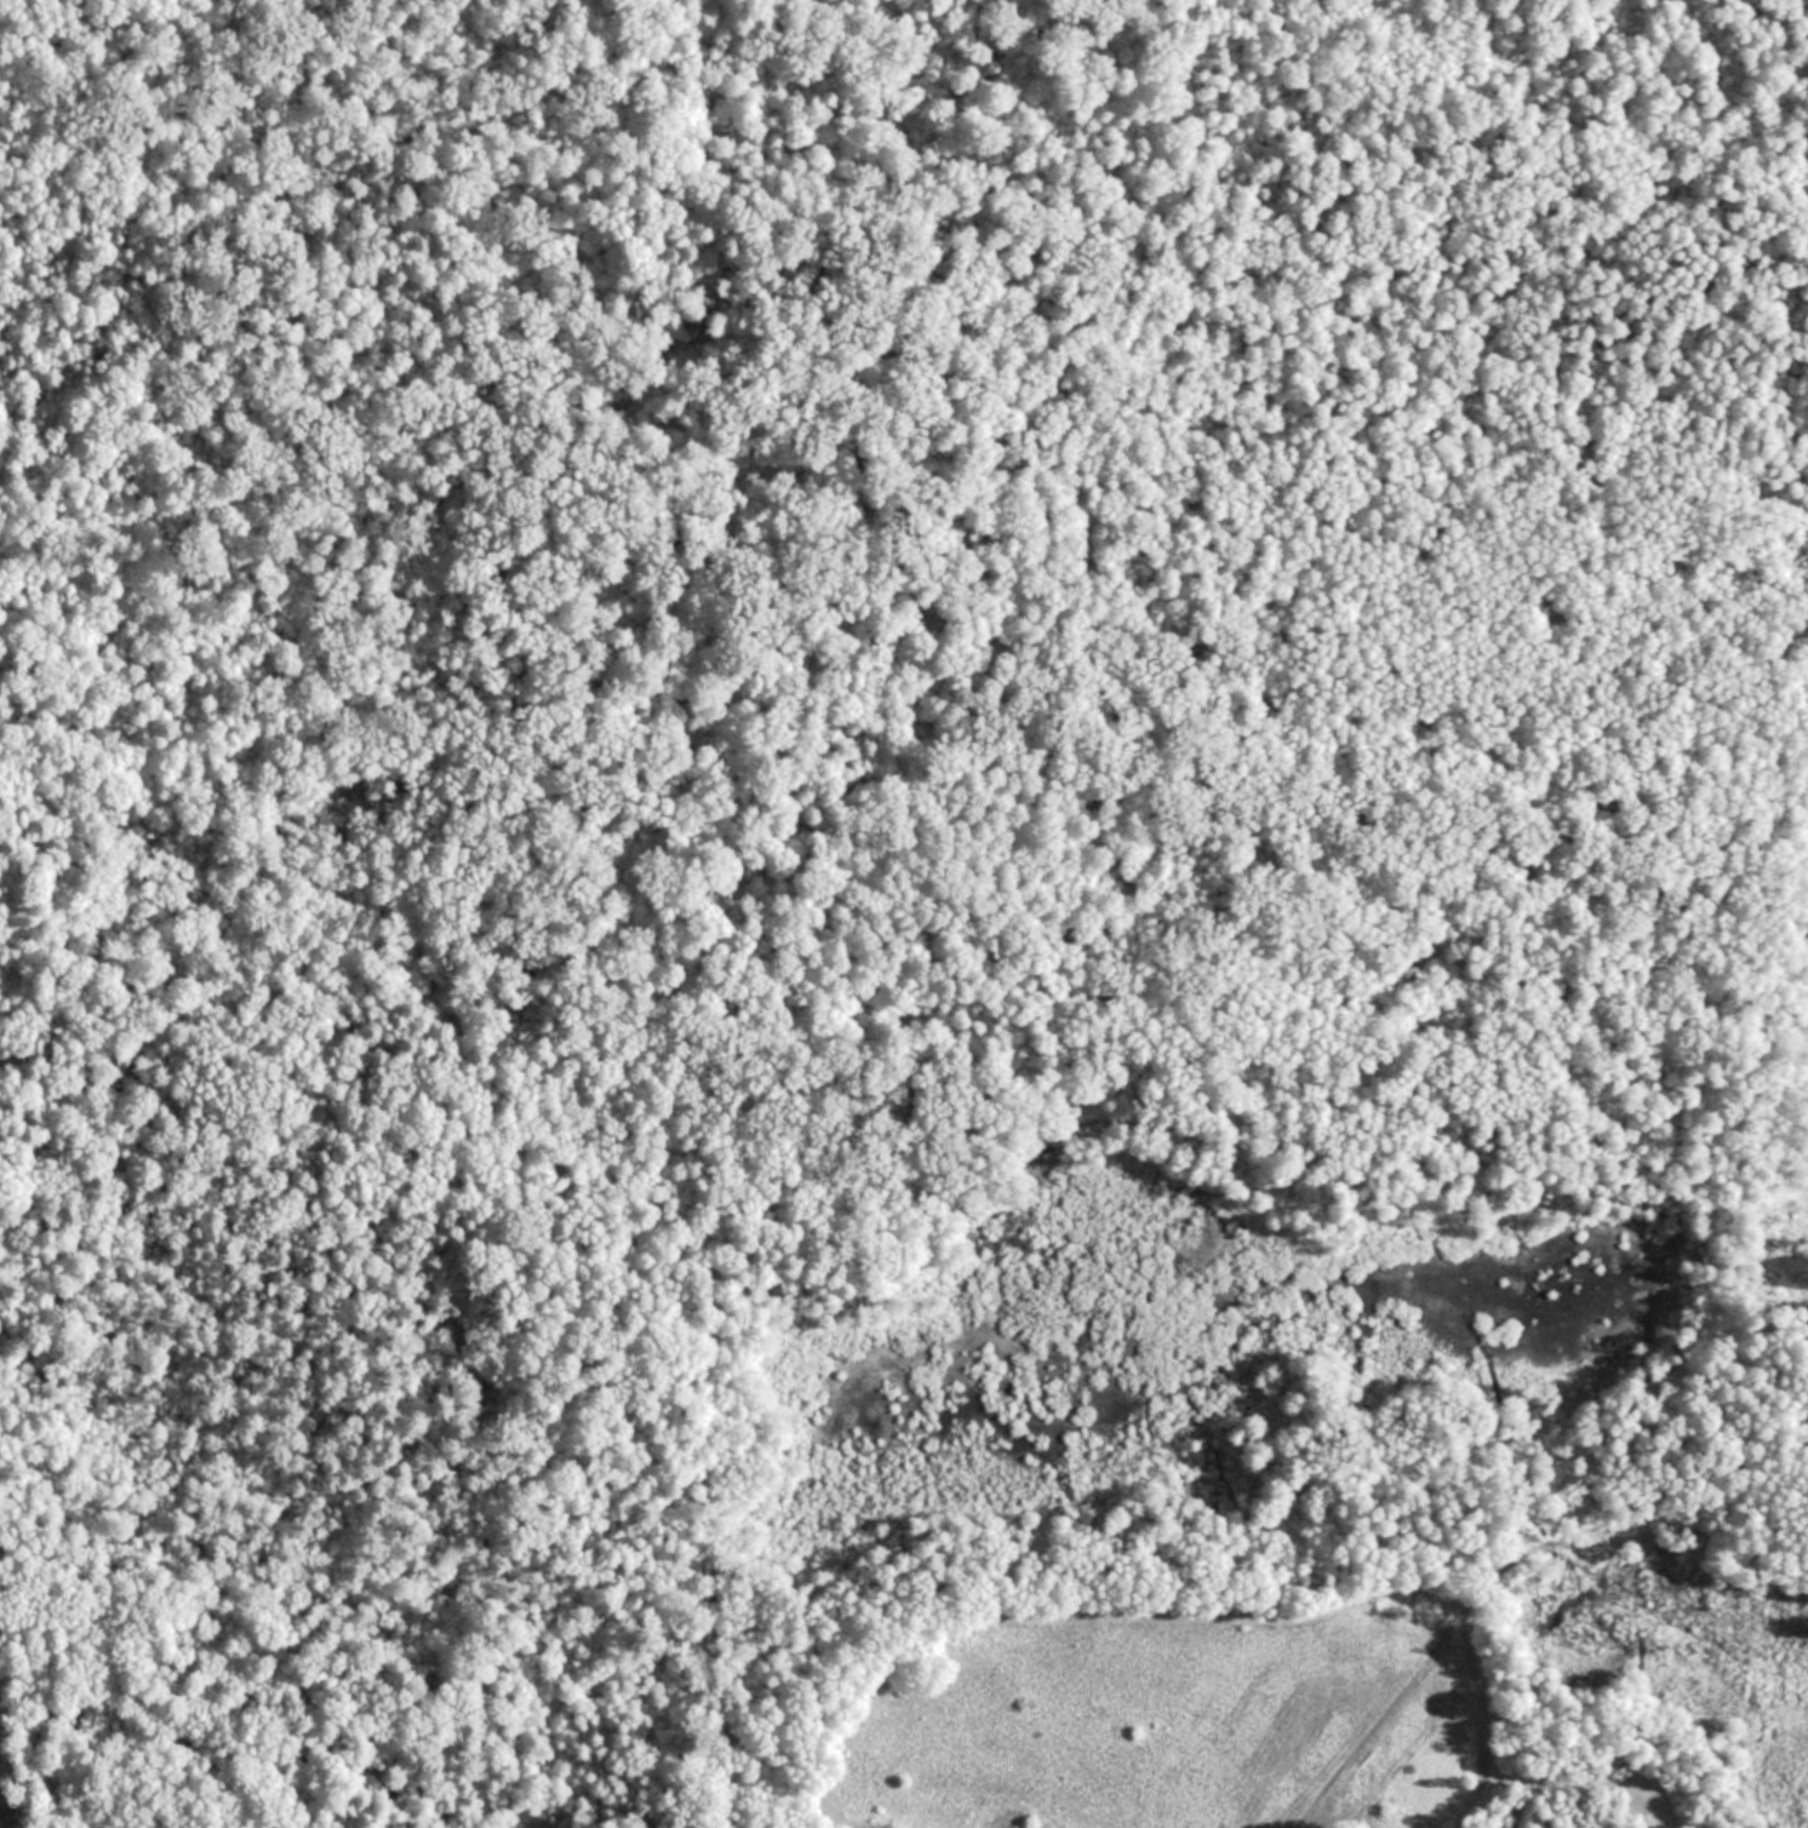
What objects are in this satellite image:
park: (904, 913)

